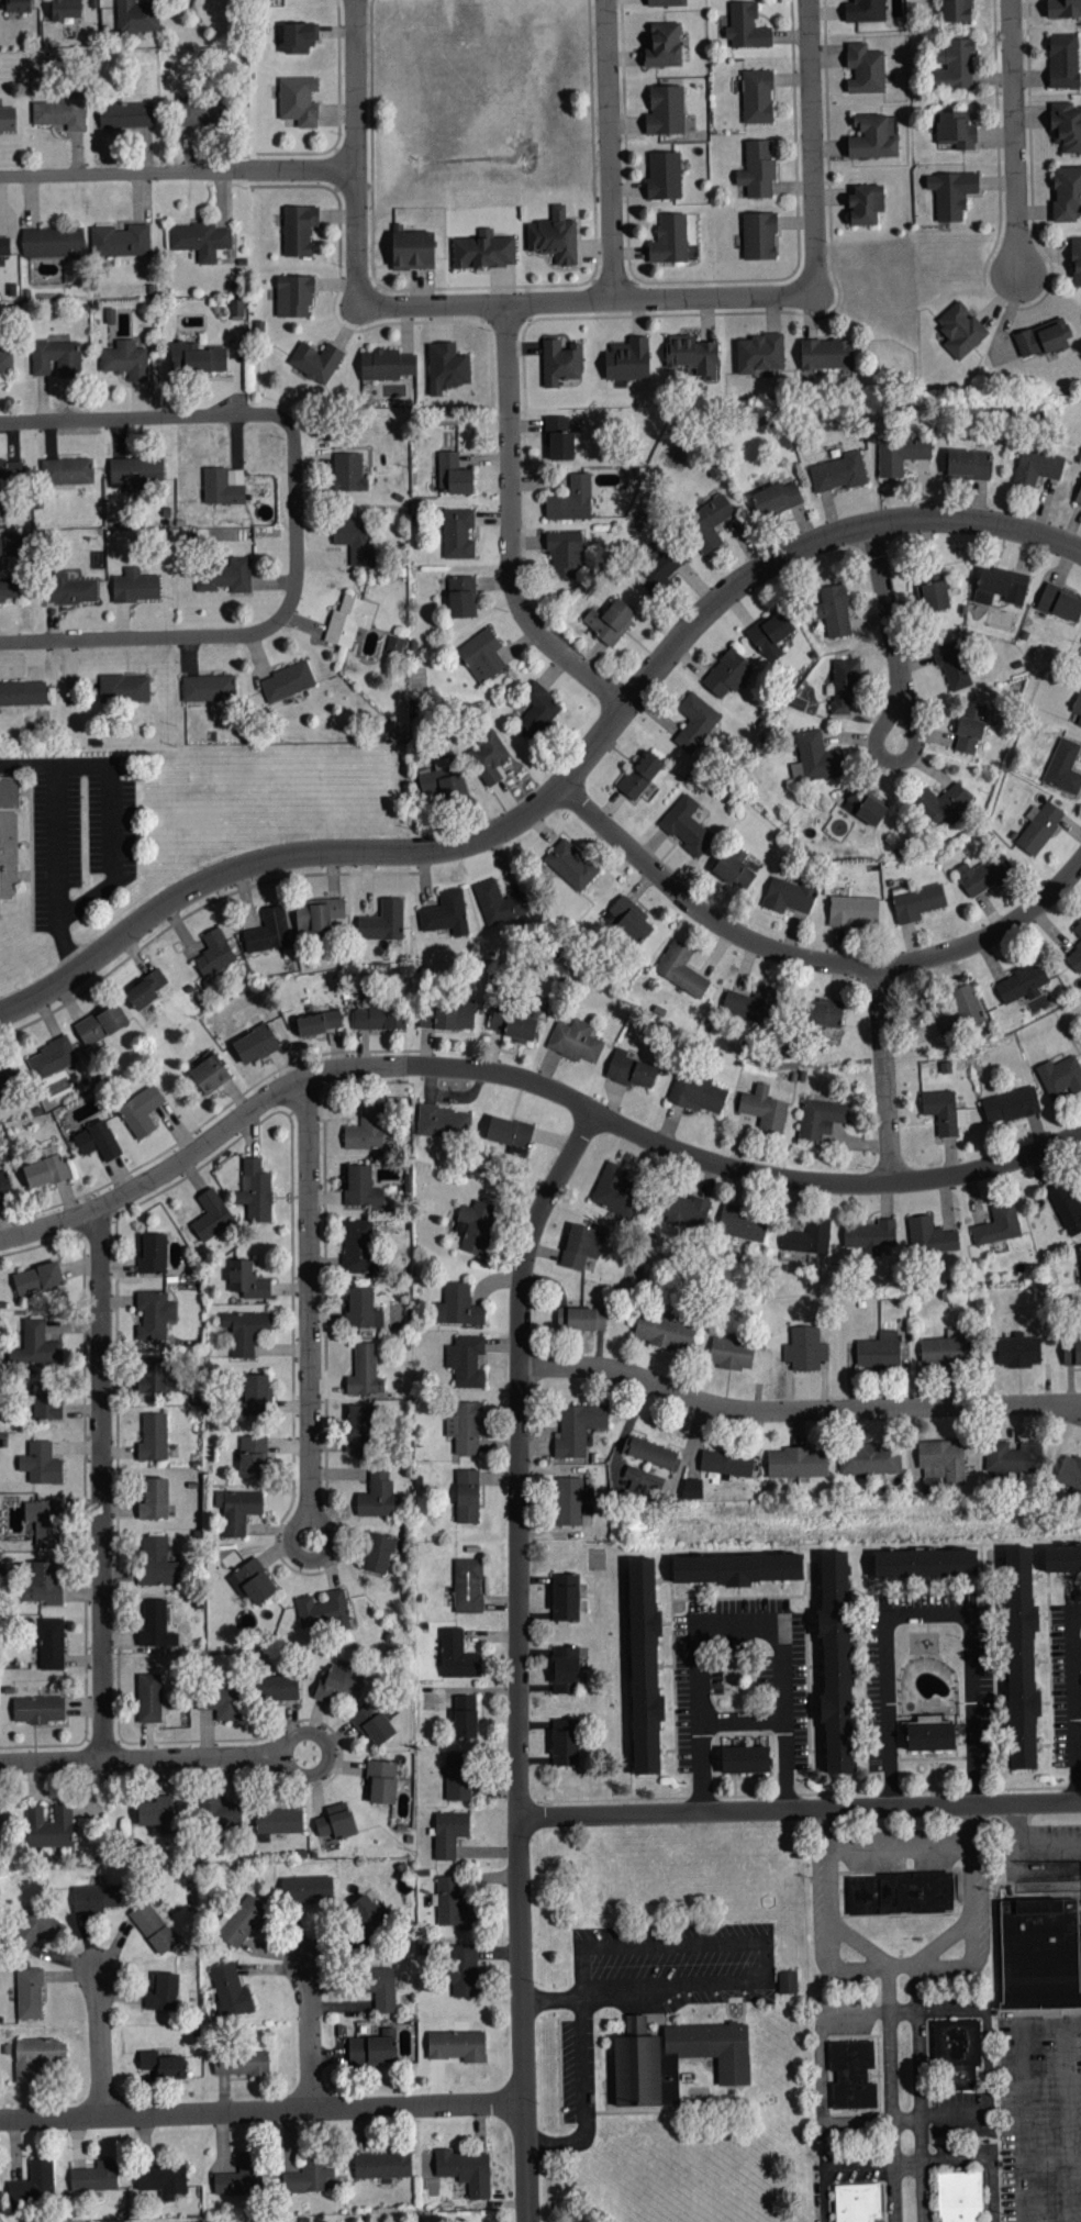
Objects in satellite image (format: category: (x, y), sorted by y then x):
building: (666, 2)
building: (16, 5)
building: (65, 9)
building: (898, 9)
building: (1063, 9)
building: (866, 11)
building: (957, 11)
building: (136, 16)
building: (746, 27)
building: (297, 38)
building: (662, 44)
building: (1063, 60)
building: (956, 66)
building: (866, 68)
road: (356, 85)
building: (757, 97)
building: (298, 101)
building: (666, 110)
building: (202, 111)
building: (62, 112)
building: (125, 114)
building: (7, 120)
building: (1067, 126)
building: (956, 130)
building: (874, 136)
road: (1011, 137)
road: (811, 147)
road: (610, 149)
building: (757, 169)
road: (178, 171)
building: (665, 176)
building: (951, 193)
building: (1067, 193)
building: (866, 205)
building: (299, 231)
building: (555, 235)
building: (760, 236)
road: (357, 238)
building: (199, 240)
building: (120, 241)
building: (670, 241)
building: (52, 243)
building: (3, 247)
building: (412, 251)
building: (483, 253)
building: (1077, 262)
building: (293, 297)
road: (587, 300)
building: (236, 309)
building: (960, 331)
building: (1039, 341)
building: (759, 354)
building: (826, 354)
building: (692, 356)
building: (56, 358)
building: (196, 358)
building: (125, 360)
building: (627, 360)
building: (5, 362)
building: (315, 362)
building: (560, 363)
building: (387, 365)
building: (448, 366)
road: (144, 418)
building: (560, 440)
building: (901, 455)
building: (968, 464)
building: (1037, 466)
building: (10, 470)
building: (66, 471)
building: (136, 471)
building: (348, 473)
building: (838, 473)
building: (453, 475)
building: (223, 486)
building: (776, 499)
building: (1079, 499)
building: (571, 500)
building: (709, 523)
road: (510, 526)
building: (458, 534)
building: (225, 537)
building: (354, 540)
building: (12, 545)
building: (565, 554)
road: (776, 557)
building: (658, 571)
building: (223, 576)
building: (135, 587)
building: (1001, 587)
building: (9, 589)
building: (70, 589)
building: (935, 597)
building: (460, 598)
building: (1060, 603)
building: (834, 611)
building: (348, 621)
building: (610, 622)
road: (889, 631)
road: (244, 634)
building: (770, 635)
building: (481, 656)
building: (952, 666)
building: (727, 674)
building: (287, 682)
building: (844, 687)
building: (124, 688)
building: (209, 688)
building: (22, 693)
building: (1078, 708)
building: (538, 711)
building: (695, 723)
building: (970, 727)
building: (488, 758)
building: (815, 758)
building: (1063, 768)
road: (560, 771)
building: (639, 776)
building: (441, 780)
building: (944, 804)
building: (865, 808)
building: (687, 826)
road: (113, 827)
building: (1039, 830)
parking lot: (79, 831)
building: (9, 841)
road: (56, 842)
road: (268, 862)
building: (570, 866)
building: (733, 871)
building: (984, 875)
building: (788, 897)
building: (916, 902)
building: (498, 903)
road: (698, 909)
building: (854, 912)
building: (446, 914)
building: (316, 915)
building: (629, 921)
building: (382, 922)
building: (268, 931)
building: (1078, 931)
road: (989, 933)
building: (214, 954)
building: (1074, 959)
building: (681, 969)
building: (1022, 982)
building: (146, 988)
building: (753, 1003)
building: (961, 1010)
building: (824, 1013)
building: (447, 1015)
building: (380, 1018)
building: (319, 1022)
building: (100, 1023)
building: (513, 1024)
building: (575, 1040)
building: (255, 1043)
building: (51, 1057)
building: (629, 1069)
road: (881, 1071)
building: (209, 1074)
building: (5, 1076)
building: (1060, 1076)
road: (531, 1082)
building: (696, 1091)
building: (1011, 1104)
building: (764, 1108)
building: (141, 1111)
building: (944, 1111)
building: (821, 1116)
building: (443, 1120)
building: (366, 1129)
building: (509, 1131)
building: (97, 1141)
building: (45, 1168)
building: (4, 1185)
building: (360, 1187)
building: (616, 1190)
building: (255, 1191)
building: (1066, 1207)
building: (686, 1209)
building: (211, 1214)
building: (743, 1223)
building: (998, 1224)
building: (476, 1225)
building: (929, 1234)
building: (870, 1235)
building: (807, 1236)
building: (581, 1245)
building: (358, 1246)
building: (1080, 1249)
building: (153, 1253)
building: (36, 1278)
building: (246, 1279)
building: (458, 1306)
building: (361, 1308)
building: (154, 1314)
building: (581, 1319)
building: (245, 1331)
building: (664, 1331)
building: (38, 1342)
building: (804, 1347)
building: (878, 1348)
building: (945, 1348)
building: (1017, 1349)
building: (1071, 1351)
building: (731, 1353)
building: (466, 1360)
road: (310, 1363)
building: (365, 1371)
building: (153, 1375)
building: (255, 1393)
building: (45, 1402)
road: (796, 1410)
building: (360, 1427)
building: (465, 1427)
building: (578, 1427)
building: (154, 1437)
building: (651, 1452)
building: (252, 1456)
building: (1013, 1456)
building: (869, 1458)
building: (941, 1459)
building: (725, 1462)
building: (796, 1462)
building: (41, 1463)
building: (1070, 1470)
building: (642, 1480)
road: (103, 1485)
building: (692, 1488)
building: (377, 1495)
building: (467, 1496)
building: (154, 1499)
building: (571, 1500)
building: (236, 1510)
building: (44, 1520)
building: (378, 1553)
building: (1061, 1558)
building: (156, 1562)
building: (924, 1562)
building: (738, 1567)
building: (254, 1581)
building: (43, 1585)
building: (468, 1586)
building: (565, 1597)
building: (323, 1611)
road: (927, 1615)
building: (155, 1625)
road: (742, 1626)
building: (52, 1643)
building: (457, 1656)
building: (1021, 1656)
road: (519, 1658)
building: (835, 1663)
building: (643, 1667)
building: (565, 1669)
building: (337, 1682)
building: (281, 1688)
building: (149, 1698)
building: (221, 1701)
road: (1074, 1701)
road: (1078, 1702)
building: (37, 1709)
building: (465, 1717)
building: (371, 1723)
road: (743, 1723)
building: (929, 1735)
building: (564, 1742)
road: (330, 1755)
building: (744, 1758)
road: (137, 1759)
building: (457, 1776)
building: (380, 1782)
road: (800, 1809)
building: (223, 1812)
building: (156, 1813)
building: (279, 1821)
building: (336, 1822)
building: (49, 1827)
building: (449, 1833)
parking lot: (1039, 1836)
road: (1033, 1837)
road: (901, 1845)
building: (307, 1889)
building: (899, 1891)
building: (94, 1898)
building: (453, 1904)
building: (364, 1912)
building: (243, 1921)
building: (36, 1927)
building: (152, 1927)
road: (759, 1943)
building: (1040, 1953)
road: (904, 1965)
building: (465, 1970)
building: (787, 1981)
building: (381, 1988)
building: (230, 1991)
building: (163, 1992)
building: (29, 1993)
road: (311, 2036)
road: (101, 2044)
building: (457, 2046)
building: (371, 2049)
building: (958, 2049)
building: (36, 2057)
building: (672, 2057)
building: (241, 2063)
building: (161, 2065)
road: (581, 2066)
building: (852, 2075)
road: (906, 2093)
road: (1029, 2103)
road: (263, 2111)
parking lot: (1039, 2117)
building: (382, 2165)
road: (840, 2166)
building: (466, 2170)
building: (94, 2177)
building: (241, 2177)
building: (163, 2179)
building: (34, 2184)
building: (959, 2196)
building: (857, 2201)

